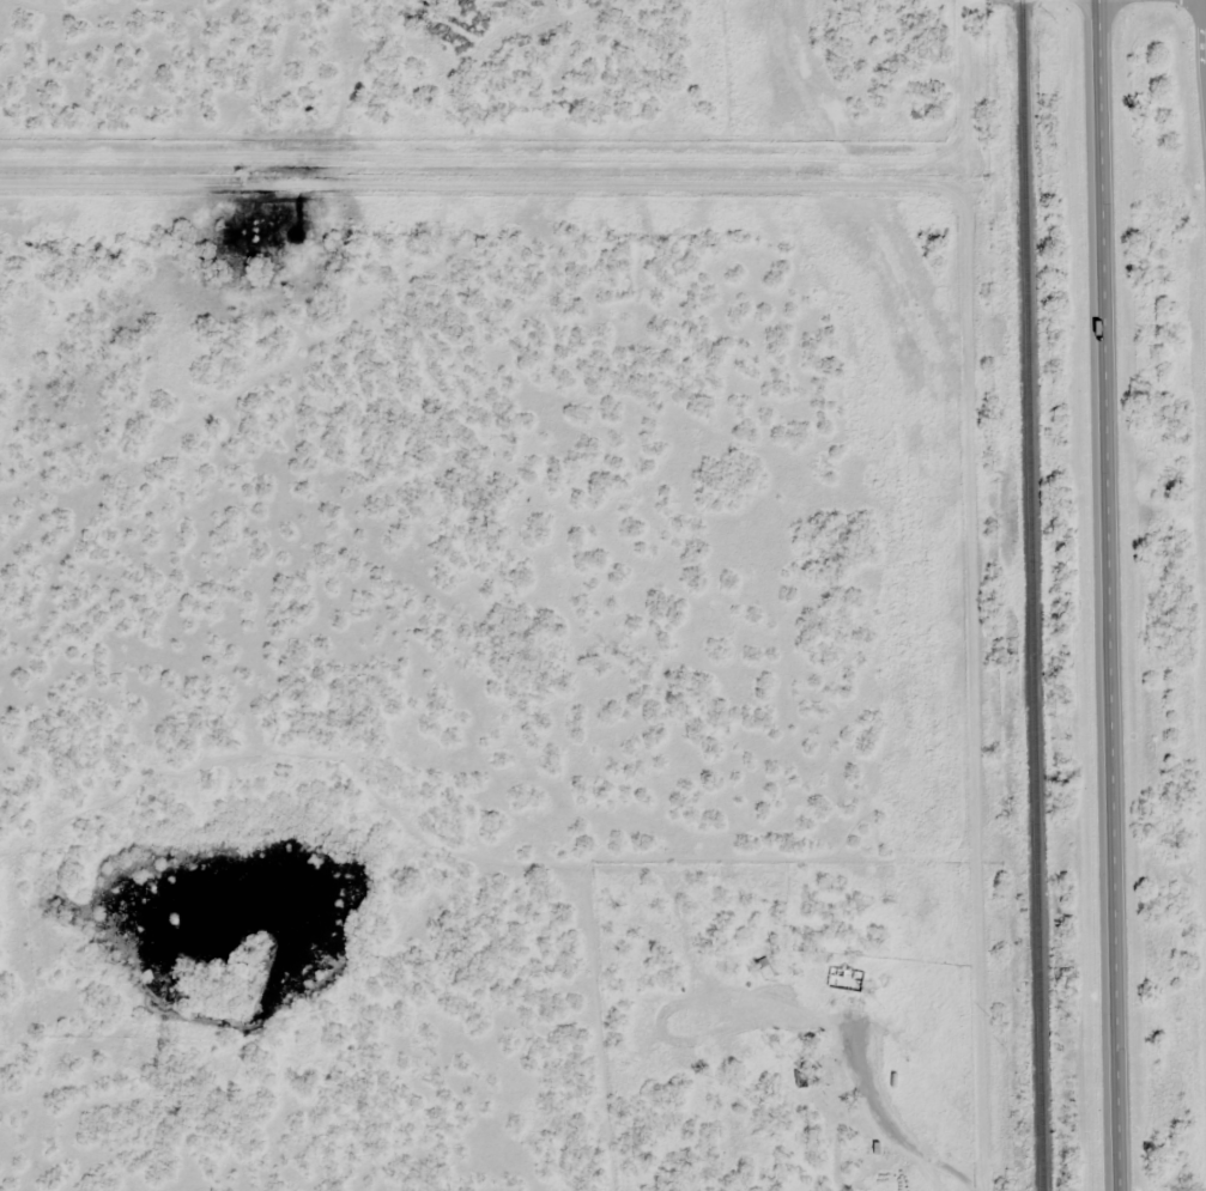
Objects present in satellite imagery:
road: (1031, 0)
railway: (1038, 595)
road: (1114, 595)
building: (844, 988)
building: (799, 1081)

